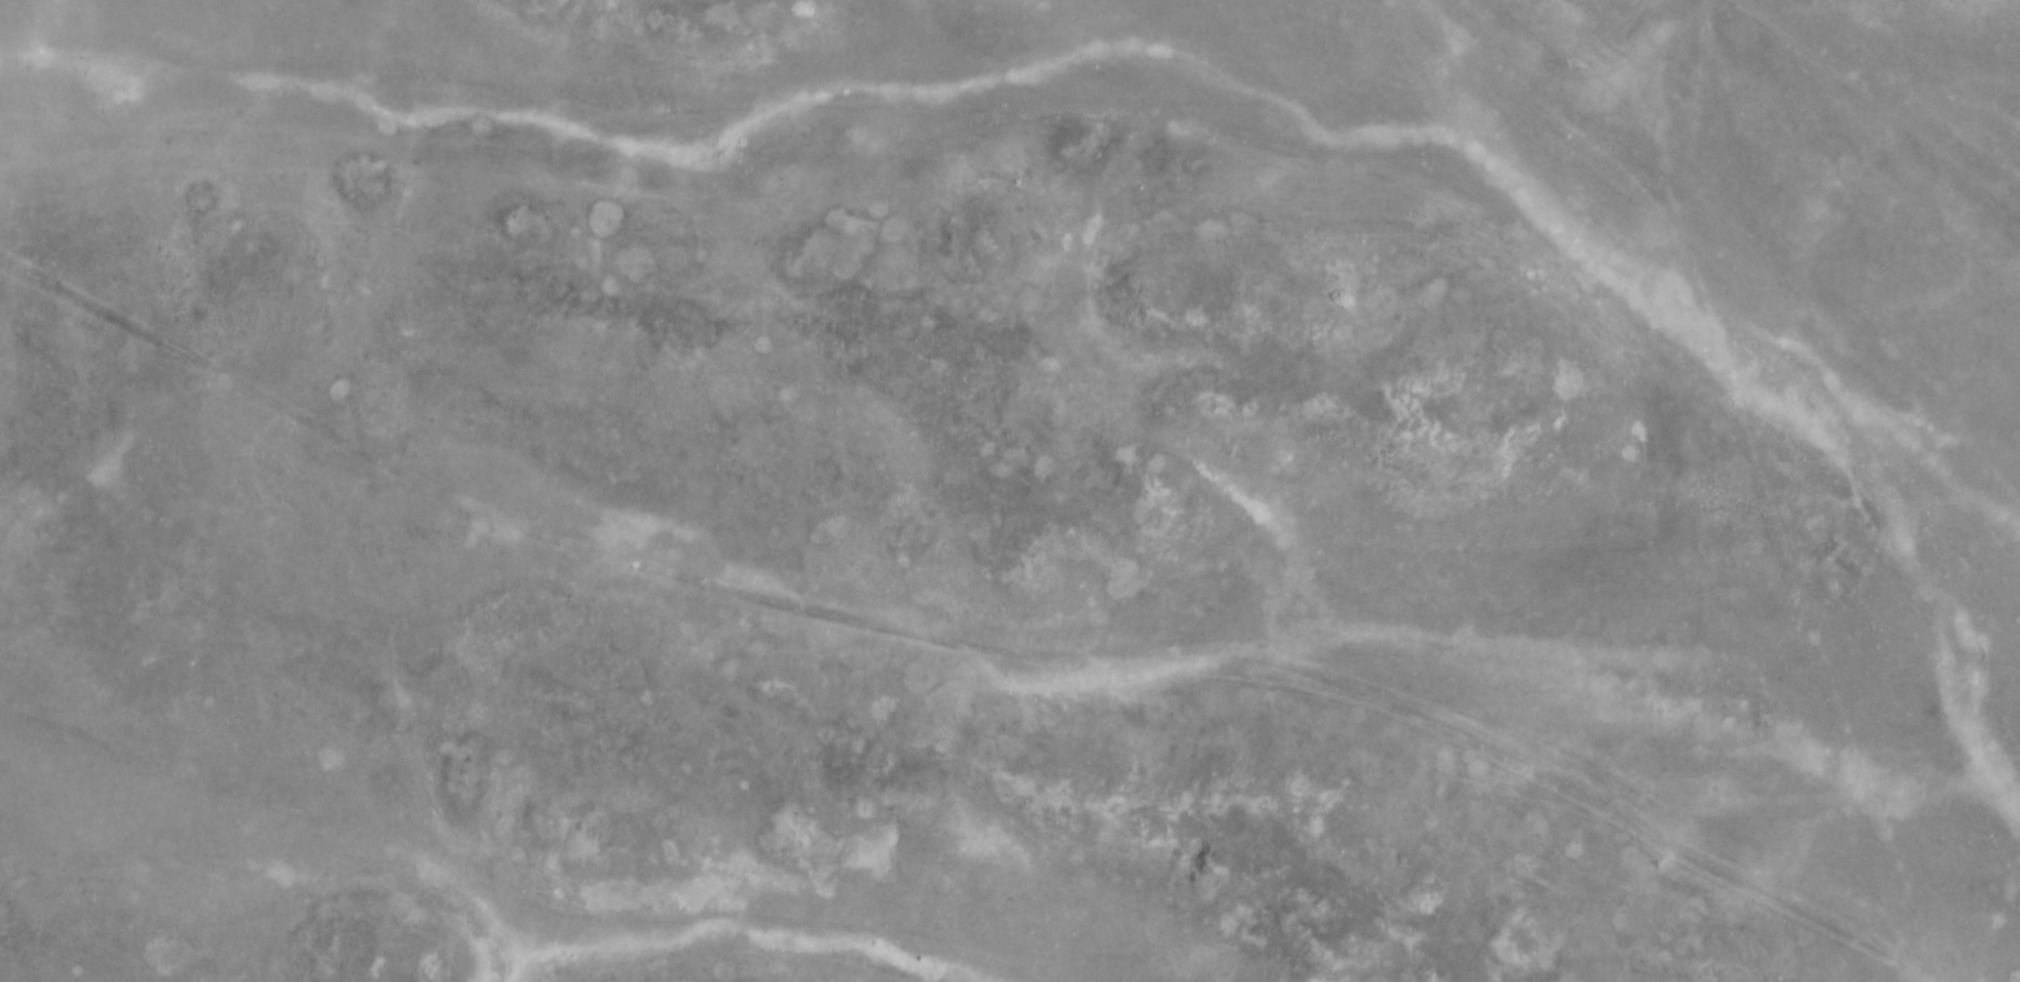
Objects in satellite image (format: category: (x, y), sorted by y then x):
road: (1867, 109)

